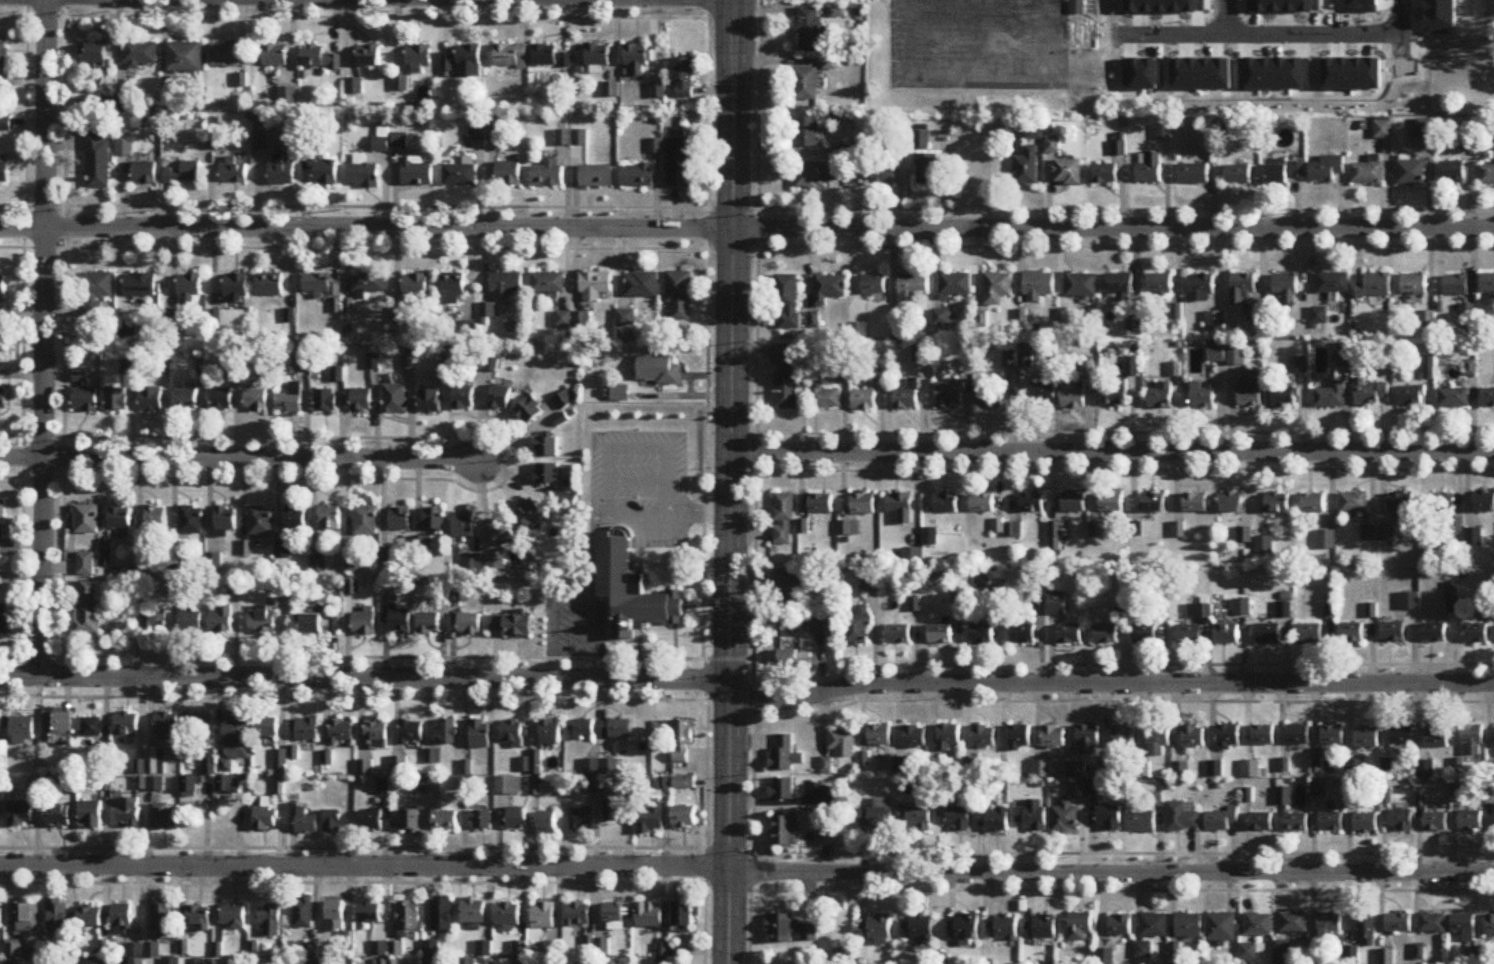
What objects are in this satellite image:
building: (1078, 7)
road: (972, 8)
road: (354, 15)
road: (1225, 17)
building: (813, 30)
road: (1273, 33)
building: (141, 54)
building: (97, 55)
building: (598, 55)
building: (226, 56)
building: (276, 56)
building: (369, 56)
building: (511, 56)
building: (185, 58)
building: (419, 58)
building: (551, 58)
building: (3, 59)
building: (320, 59)
building: (637, 60)
building: (463, 63)
road: (932, 68)
building: (685, 78)
building: (400, 85)
building: (807, 85)
building: (288, 96)
road: (26, 102)
building: (5, 123)
building: (1425, 128)
building: (1384, 130)
building: (1035, 131)
building: (479, 133)
building: (495, 133)
building: (808, 133)
building: (923, 141)
building: (1467, 141)
building: (262, 143)
building: (1054, 146)
building: (98, 160)
road: (758, 161)
building: (681, 162)
building: (1028, 168)
building: (1150, 168)
building: (3, 169)
building: (1327, 169)
building: (235, 170)
building: (928, 170)
building: (1412, 171)
building: (282, 172)
building: (1369, 172)
building: (1452, 172)
building: (145, 173)
building: (184, 173)
building: (326, 173)
building: (1069, 173)
building: (1287, 173)
building: (462, 174)
building: (510, 174)
building: (550, 174)
building: (840, 174)
building: (1107, 174)
building: (1194, 174)
building: (1239, 174)
building: (364, 175)
building: (419, 175)
building: (1487, 175)
building: (597, 176)
building: (638, 176)
building: (883, 176)
road: (978, 177)
building: (813, 179)
road: (746, 208)
road: (747, 227)
road: (746, 246)
building: (1334, 282)
building: (370, 283)
building: (549, 283)
building: (1414, 283)
building: (1487, 283)
building: (270, 284)
building: (317, 284)
building: (507, 284)
building: (1121, 284)
building: (1160, 284)
building: (97, 285)
building: (140, 285)
building: (642, 285)
building: (875, 285)
building: (1456, 285)
building: (236, 286)
building: (596, 286)
building: (956, 286)
building: (1040, 286)
building: (1082, 286)
building: (1374, 286)
building: (416, 287)
building: (915, 287)
building: (1287, 287)
building: (2, 288)
building: (190, 288)
building: (830, 288)
building: (1202, 288)
building: (454, 289)
building: (998, 289)
building: (1243, 289)
building: (681, 294)
building: (789, 301)
building: (942, 317)
building: (627, 318)
building: (1215, 320)
building: (565, 324)
road: (64, 327)
road: (707, 328)
road: (43, 337)
building: (1344, 354)
building: (301, 358)
building: (658, 370)
building: (786, 376)
building: (1371, 392)
building: (1116, 393)
building: (84, 394)
building: (824, 394)
building: (1250, 394)
building: (621, 395)
building: (950, 395)
building: (1044, 395)
building: (908, 396)
building: (1160, 396)
building: (1285, 396)
building: (1411, 396)
building: (1202, 397)
building: (1332, 397)
building: (464, 398)
building: (501, 398)
building: (991, 398)
building: (1454, 398)
building: (1487, 398)
building: (118, 399)
building: (152, 399)
building: (186, 399)
building: (257, 399)
building: (395, 399)
building: (1074, 399)
building: (3, 400)
building: (223, 400)
building: (292, 400)
building: (326, 400)
building: (362, 400)
building: (864, 400)
building: (431, 401)
building: (566, 401)
building: (530, 411)
road: (23, 429)
road: (1099, 432)
road: (637, 447)
building: (547, 448)
road: (1112, 450)
road: (240, 456)
road: (511, 457)
road: (1124, 468)
building: (547, 475)
road: (638, 479)
parking lot: (643, 481)
road: (729, 481)
road: (754, 482)
building: (566, 502)
building: (1483, 502)
building: (1072, 503)
building: (1112, 503)
building: (1154, 503)
building: (1354, 503)
building: (1442, 503)
building: (900, 504)
building: (947, 504)
building: (982, 504)
building: (1032, 504)
building: (1195, 504)
building: (1232, 504)
building: (1277, 504)
building: (1314, 504)
building: (864, 505)
building: (1402, 506)
building: (822, 508)
road: (697, 512)
building: (532, 514)
building: (120, 518)
building: (331, 518)
building: (156, 519)
building: (225, 519)
building: (296, 519)
building: (784, 519)
building: (86, 520)
building: (191, 520)
building: (400, 520)
building: (434, 520)
building: (1, 521)
building: (260, 522)
building: (365, 522)
building: (464, 526)
building: (1455, 526)
building: (850, 529)
building: (1014, 530)
building: (503, 531)
building: (1098, 531)
building: (1369, 532)
building: (931, 537)
building: (1055, 537)
building: (1245, 537)
building: (1326, 541)
building: (424, 544)
building: (1265, 546)
road: (593, 560)
building: (318, 563)
building: (496, 563)
building: (86, 564)
building: (354, 564)
building: (145, 566)
building: (871, 584)
building: (633, 591)
building: (789, 591)
building: (1452, 598)
building: (1057, 604)
building: (90, 608)
building: (1242, 608)
building: (1284, 610)
building: (1199, 612)
road: (551, 613)
parking lot: (574, 616)
building: (221, 619)
building: (5, 620)
building: (154, 622)
building: (191, 622)
building: (263, 622)
building: (365, 622)
building: (397, 622)
building: (321, 624)
building: (429, 624)
building: (470, 624)
building: (512, 626)
building: (858, 627)
building: (831, 628)
building: (1144, 630)
building: (1393, 632)
building: (1434, 633)
building: (899, 634)
building: (1024, 634)
building: (1070, 634)
building: (1106, 634)
building: (1269, 634)
building: (1310, 634)
building: (1352, 634)
building: (1476, 634)
building: (941, 635)
building: (981, 635)
building: (1190, 635)
building: (1227, 635)
road: (715, 644)
road: (376, 655)
building: (794, 662)
road: (1122, 663)
road: (364, 675)
road: (704, 678)
road: (1110, 682)
road: (353, 696)
road: (1122, 700)
building: (0, 720)
building: (202, 723)
building: (167, 724)
building: (58, 727)
building: (269, 727)
building: (93, 728)
building: (127, 728)
building: (308, 729)
building: (621, 729)
building: (24, 731)
building: (342, 731)
building: (412, 732)
building: (551, 732)
building: (447, 733)
building: (513, 733)
building: (1403, 733)
building: (481, 734)
building: (377, 735)
building: (1264, 735)
building: (1299, 735)
building: (235, 736)
building: (880, 736)
building: (983, 736)
building: (1229, 736)
building: (1333, 736)
building: (915, 737)
building: (1019, 737)
building: (1054, 737)
building: (1193, 737)
building: (949, 738)
building: (1123, 738)
building: (1367, 738)
building: (1437, 739)
building: (1088, 740)
building: (1473, 740)
building: (1158, 741)
building: (843, 744)
building: (684, 746)
building: (786, 755)
building: (435, 756)
building: (157, 761)
building: (536, 762)
building: (972, 765)
building: (210, 766)
building: (399, 766)
building: (611, 767)
building: (366, 768)
building: (1042, 769)
building: (1216, 769)
building: (1181, 770)
building: (1251, 770)
building: (592, 776)
building: (683, 783)
building: (229, 784)
building: (430, 784)
building: (191, 786)
building: (509, 786)
building: (537, 786)
building: (1078, 787)
building: (782, 791)
building: (612, 805)
building: (130, 813)
building: (22, 814)
building: (92, 815)
building: (878, 816)
building: (955, 816)
building: (1033, 816)
building: (1066, 816)
building: (0, 817)
building: (59, 817)
building: (266, 817)
building: (1182, 817)
building: (165, 818)
building: (684, 818)
building: (1111, 818)
building: (446, 819)
building: (482, 819)
building: (517, 819)
building: (916, 819)
building: (371, 820)
building: (582, 820)
building: (981, 820)
building: (1222, 820)
building: (652, 821)
building: (998, 821)
building: (1401, 821)
building: (307, 822)
building: (333, 822)
building: (412, 822)
building: (1260, 822)
building: (1471, 822)
building: (547, 823)
building: (1143, 823)
building: (1296, 823)
building: (1331, 823)
building: (1436, 823)
building: (1366, 824)
road: (705, 831)
building: (786, 831)
building: (829, 838)
road: (352, 846)
road: (1175, 851)
road: (746, 869)
road: (352, 881)
road: (1174, 889)
building: (474, 911)
building: (305, 913)
building: (370, 913)
building: (509, 914)
building: (615, 914)
building: (578, 915)
building: (649, 915)
building: (59, 916)
building: (443, 916)
building: (544, 916)
building: (1, 917)
building: (91, 917)
building: (200, 917)
building: (235, 917)
building: (685, 917)
building: (163, 918)
building: (337, 918)
building: (27, 919)
building: (409, 919)
building: (123, 920)
building: (272, 921)
building: (1294, 923)
building: (1399, 924)
building: (1433, 924)
building: (1259, 925)
building: (1330, 925)
building: (1121, 926)
building: (1154, 926)
building: (1189, 926)
building: (1490, 926)
building: (1081, 927)
building: (1465, 927)
building: (1041, 928)
building: (1221, 928)
building: (917, 929)
building: (876, 930)
building: (963, 930)
building: (1002, 930)
building: (790, 931)
building: (1367, 932)
building: (18, 950)
building: (1144, 951)
building: (137, 954)
building: (315, 956)
building: (1352, 956)
building: (1106, 957)
building: (1388, 957)
building: (521, 961)
building: (468, 962)
building: (13, 963)

